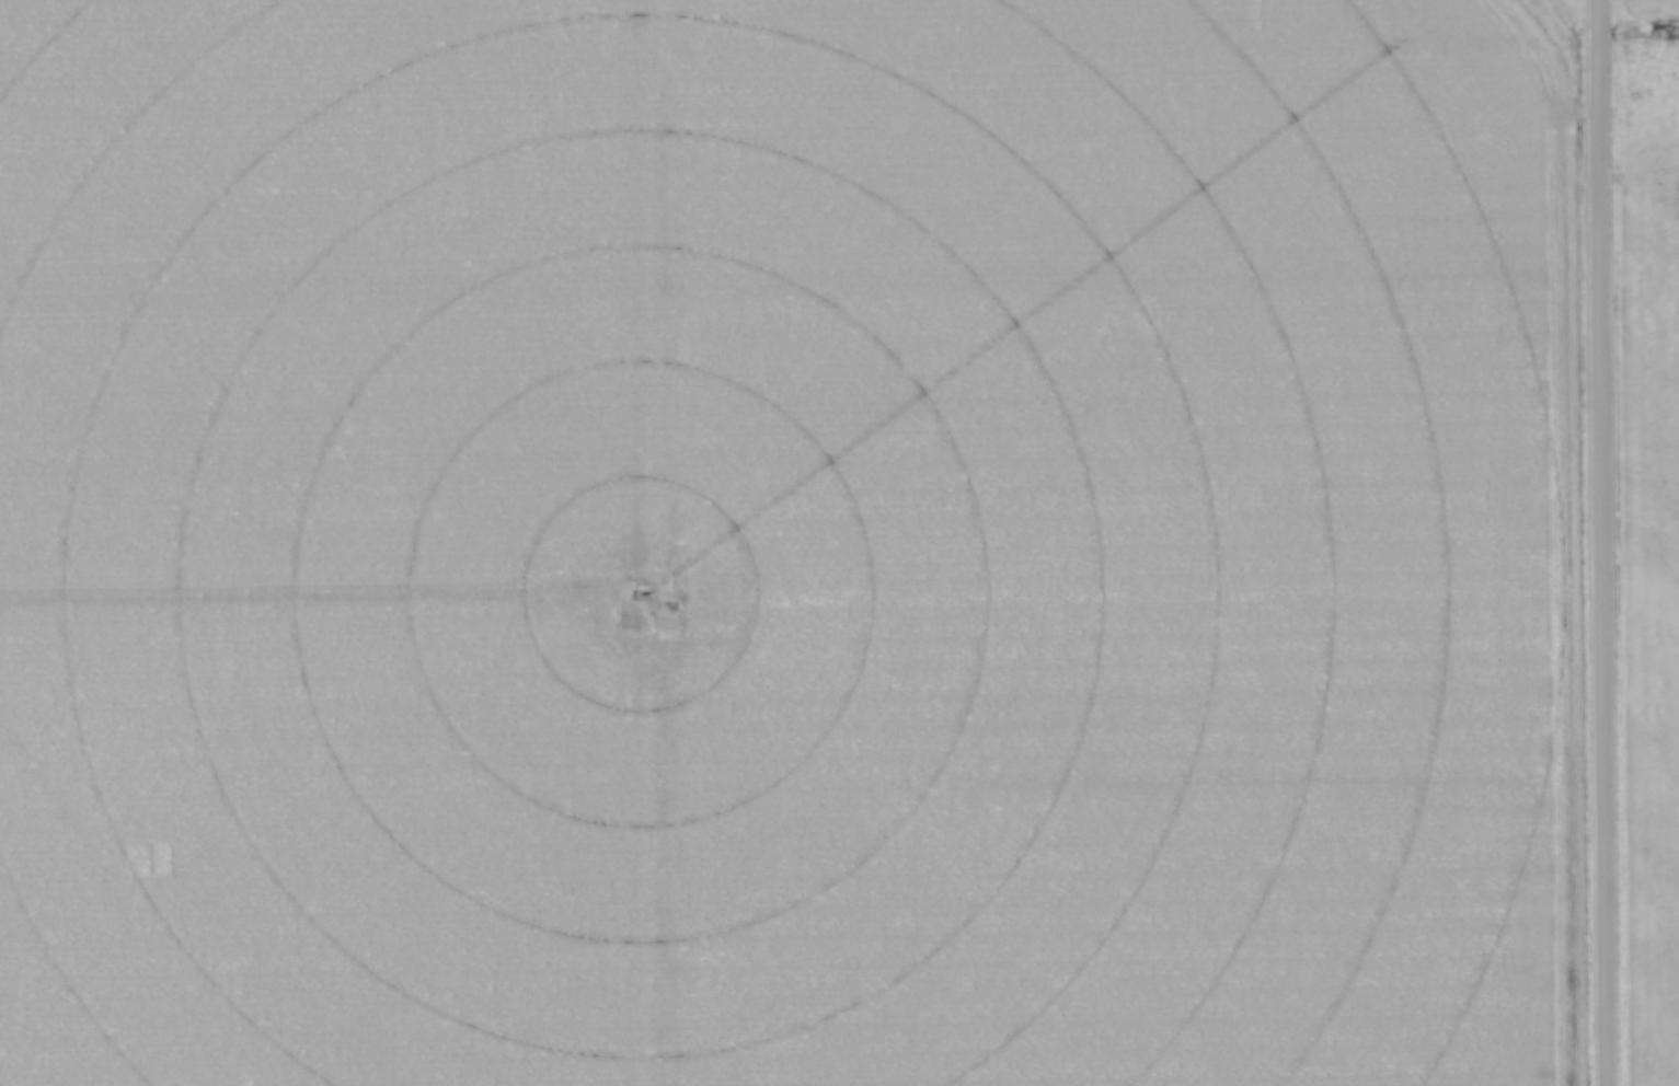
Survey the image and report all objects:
road: (1600, 543)
crop: (787, 544)
crop: (1651, 577)

